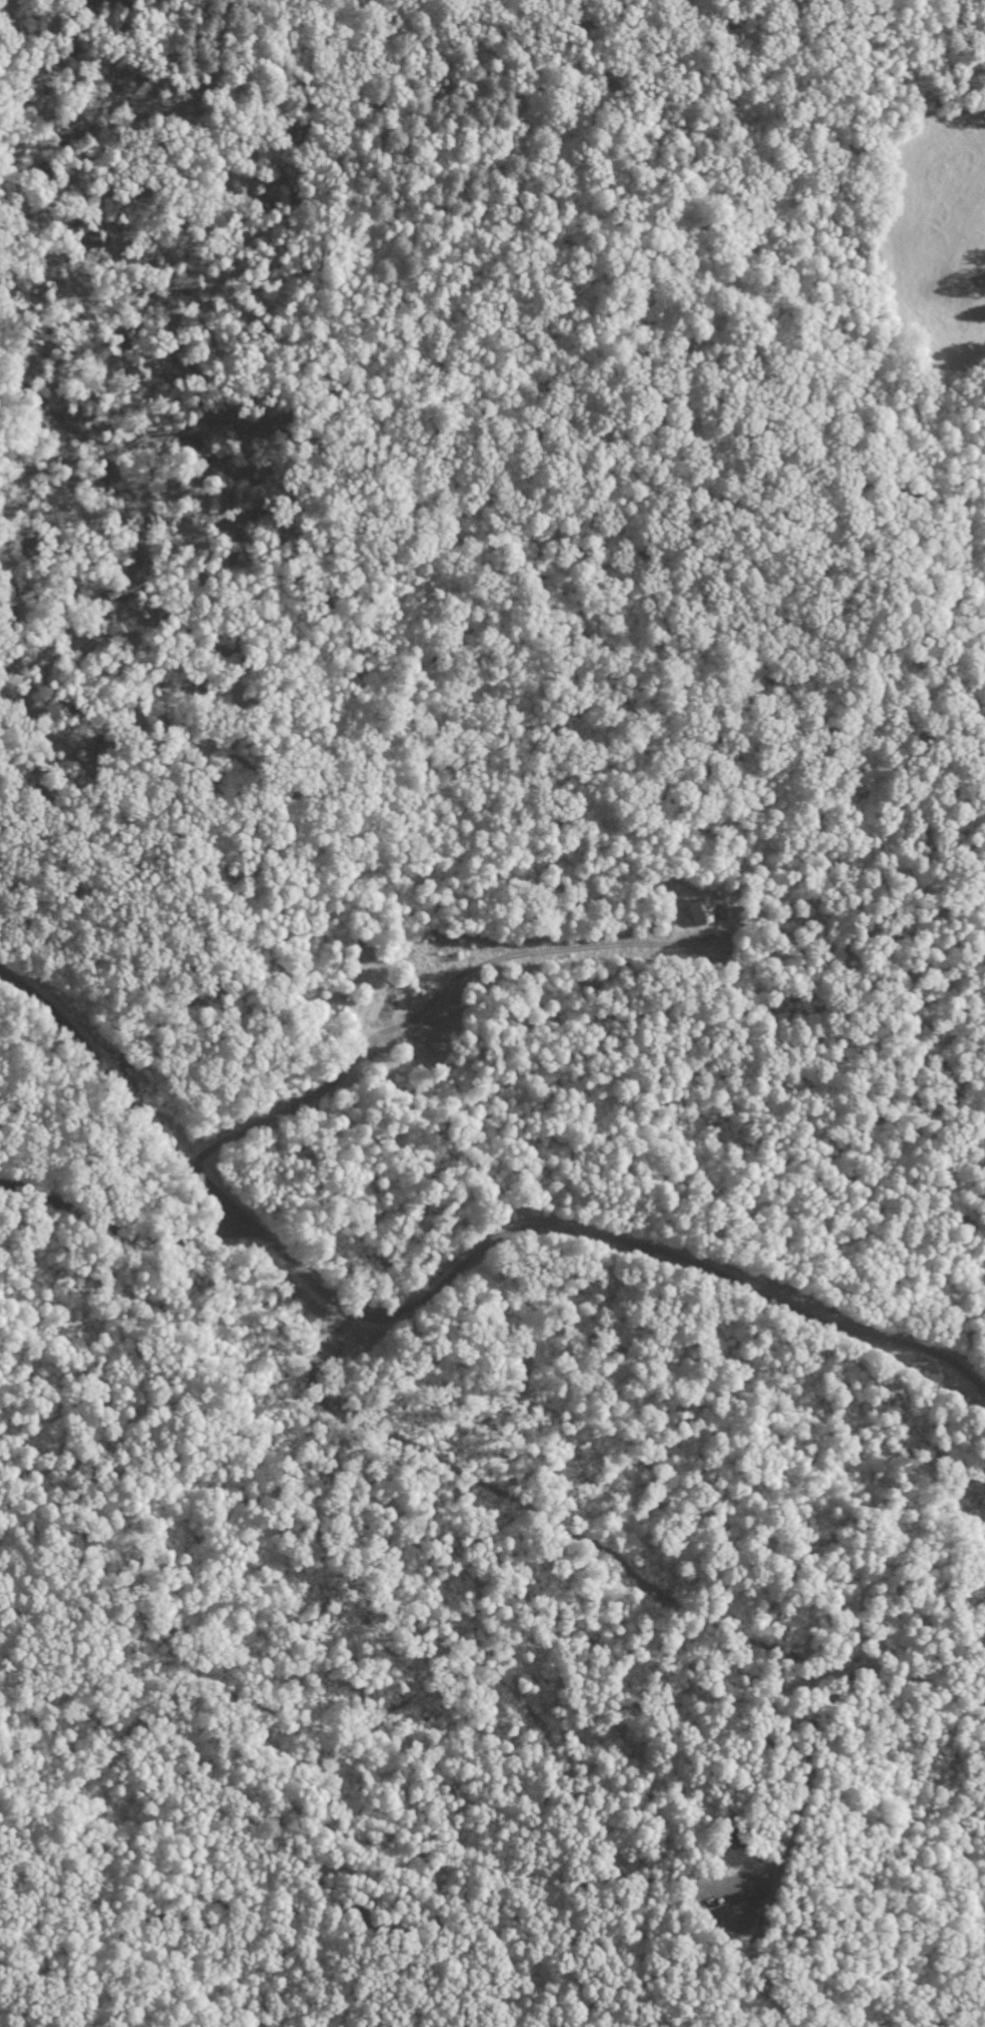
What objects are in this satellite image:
building: (704, 914)
road: (427, 1005)
road: (119, 1234)
road: (446, 1283)

